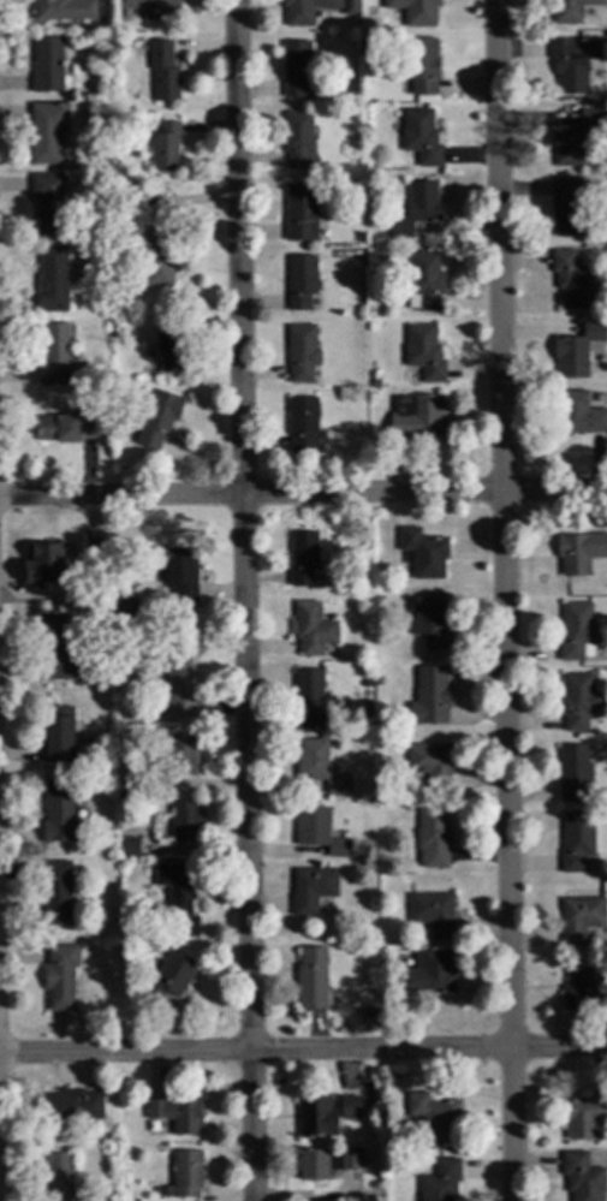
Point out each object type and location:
building: (351, 7)
building: (155, 8)
building: (64, 10)
building: (305, 10)
building: (571, 10)
building: (416, 11)
building: (118, 46)
building: (572, 61)
building: (421, 65)
building: (47, 66)
building: (298, 70)
building: (162, 71)
building: (334, 97)
building: (332, 111)
building: (47, 132)
building: (421, 136)
building: (573, 137)
building: (297, 138)
building: (166, 147)
building: (47, 203)
building: (417, 208)
building: (567, 209)
building: (300, 210)
building: (156, 257)
building: (52, 279)
building: (300, 280)
building: (573, 280)
building: (424, 281)
building: (169, 344)
building: (576, 349)
building: (302, 351)
building: (424, 351)
building: (53, 356)
building: (578, 414)
building: (417, 416)
building: (159, 417)
building: (304, 426)
building: (65, 428)
road: (303, 490)
building: (95, 552)
building: (579, 552)
building: (423, 553)
building: (303, 557)
building: (48, 566)
building: (180, 573)
road: (244, 600)
road: (502, 600)
building: (114, 610)
building: (429, 620)
building: (313, 628)
building: (575, 632)
building: (55, 646)
building: (177, 688)
building: (430, 696)
building: (577, 701)
building: (310, 702)
building: (56, 736)
building: (181, 756)
building: (432, 762)
building: (319, 766)
building: (572, 773)
building: (388, 774)
building: (127, 779)
building: (59, 811)
building: (183, 821)
building: (319, 830)
building: (120, 832)
building: (433, 837)
building: (575, 842)
building: (127, 846)
building: (177, 887)
building: (313, 888)
building: (56, 893)
building: (433, 911)
building: (579, 917)
building: (428, 973)
building: (60, 977)
building: (311, 977)
building: (168, 979)
building: (583, 991)
building: (368, 1012)
road: (303, 1052)
building: (71, 1106)
building: (177, 1114)
building: (323, 1116)
building: (583, 1116)
building: (434, 1117)
building: (327, 1164)
building: (184, 1176)
building: (58, 1177)
building: (581, 1177)
building: (439, 1182)

